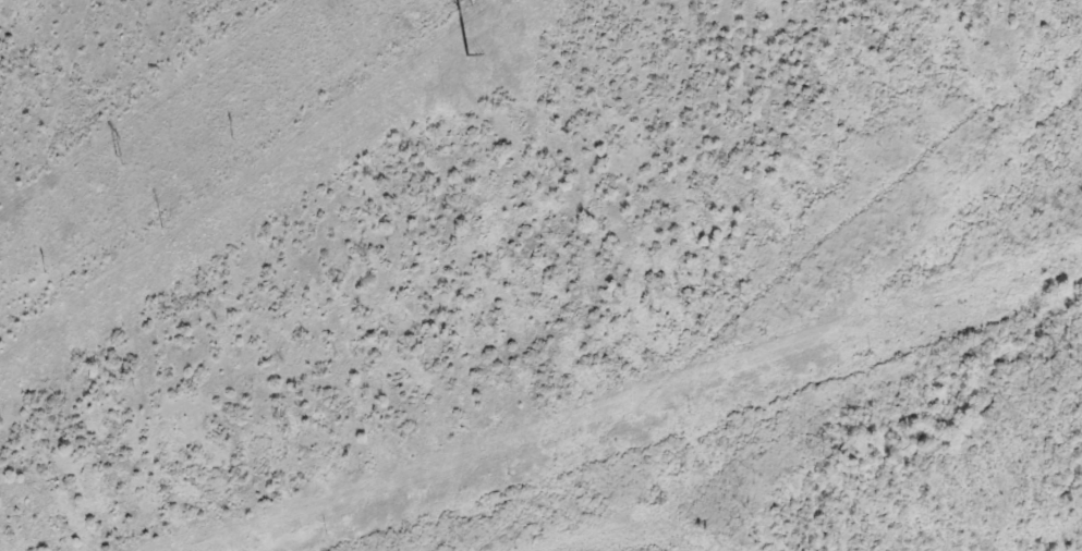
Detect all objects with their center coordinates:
power tower: (471, 7)
power tower: (452, 58)
power tower: (233, 137)
power tower: (112, 163)
power tower: (45, 271)

